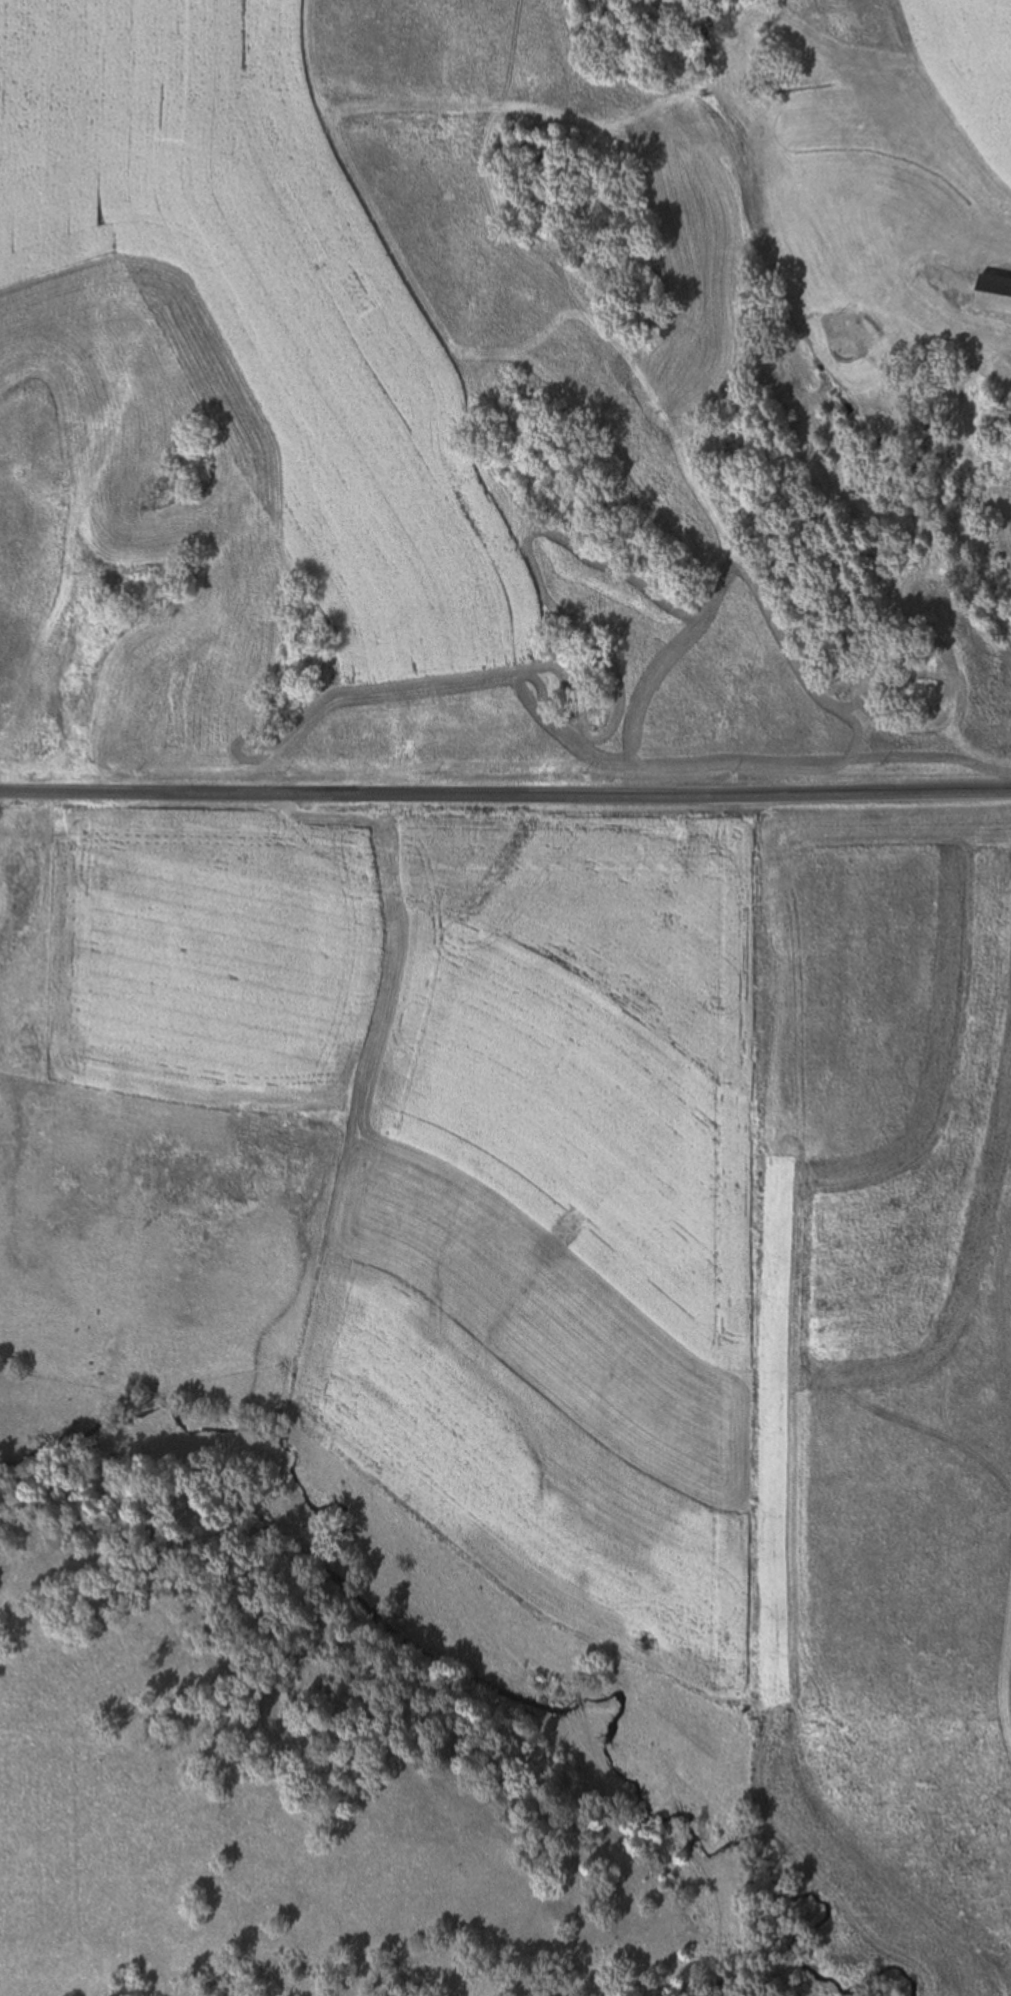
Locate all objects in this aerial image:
building: (994, 293)
road: (505, 790)

